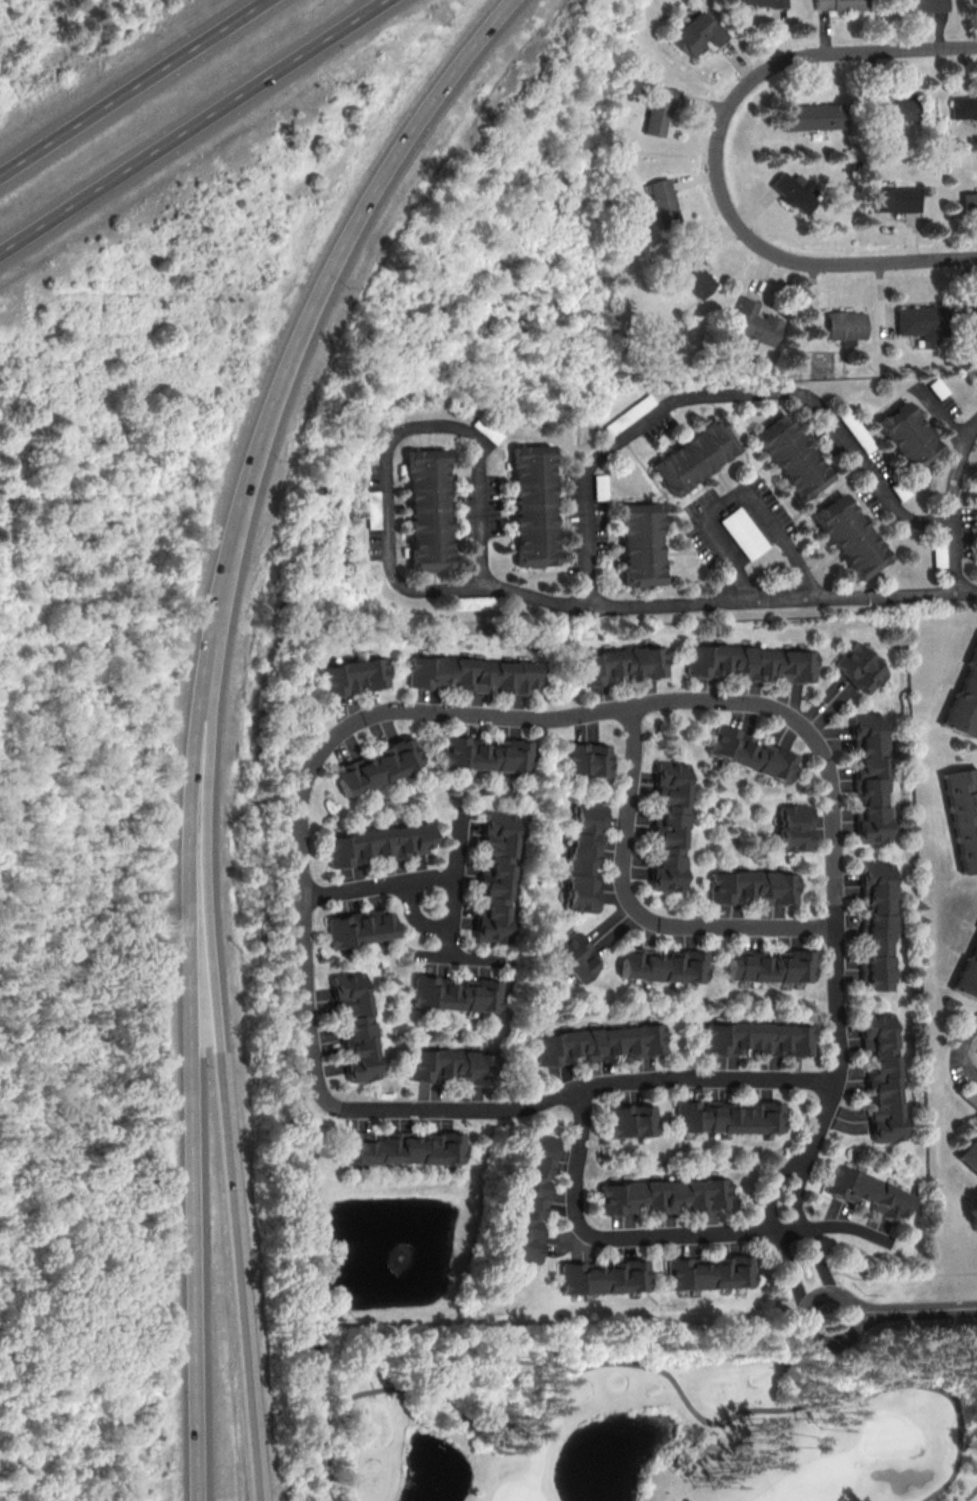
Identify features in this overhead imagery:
building: (975, 1)
building: (766, 2)
building: (840, 4)
building: (926, 4)
building: (697, 33)
road: (754, 75)
road: (133, 88)
building: (964, 106)
building: (659, 107)
building: (895, 108)
building: (812, 115)
road: (188, 124)
building: (793, 189)
building: (895, 197)
building: (663, 200)
building: (968, 201)
road: (881, 261)
building: (694, 274)
building: (975, 315)
building: (754, 322)
building: (923, 322)
building: (842, 324)
building: (938, 388)
building: (628, 414)
road: (942, 420)
building: (486, 430)
building: (856, 432)
road: (629, 433)
building: (908, 433)
road: (398, 435)
building: (793, 455)
building: (693, 456)
road: (957, 471)
road: (874, 477)
building: (598, 487)
road: (737, 490)
building: (534, 504)
building: (428, 507)
building: (742, 532)
building: (850, 535)
building: (643, 543)
building: (938, 554)
road: (953, 567)
road: (472, 586)
road: (716, 602)
building: (752, 665)
building: (621, 666)
building: (861, 666)
building: (471, 673)
building: (352, 675)
building: (963, 700)
road: (197, 712)
road: (343, 730)
building: (752, 751)
building: (486, 752)
building: (585, 759)
building: (377, 766)
building: (869, 777)
building: (962, 814)
building: (668, 826)
building: (793, 828)
building: (378, 844)
building: (582, 856)
building: (495, 875)
road: (405, 882)
building: (753, 887)
road: (634, 908)
road: (416, 917)
road: (451, 917)
building: (877, 925)
building: (358, 927)
building: (576, 956)
road: (457, 959)
building: (666, 965)
building: (772, 965)
building: (967, 974)
building: (456, 991)
building: (975, 1016)
building: (351, 1026)
building: (758, 1040)
building: (598, 1043)
road: (969, 1061)
building: (452, 1068)
road: (219, 1075)
building: (883, 1076)
building: (730, 1115)
building: (629, 1119)
building: (395, 1148)
building: (970, 1155)
building: (867, 1192)
building: (663, 1195)
building: (533, 1196)
road: (803, 1223)
road: (772, 1224)
road: (833, 1226)
road: (604, 1238)
building: (710, 1271)
road: (900, 1275)
building: (604, 1276)
road: (915, 1311)
road: (853, 1314)
road: (652, 1369)
park: (660, 1414)
road: (971, 1495)

